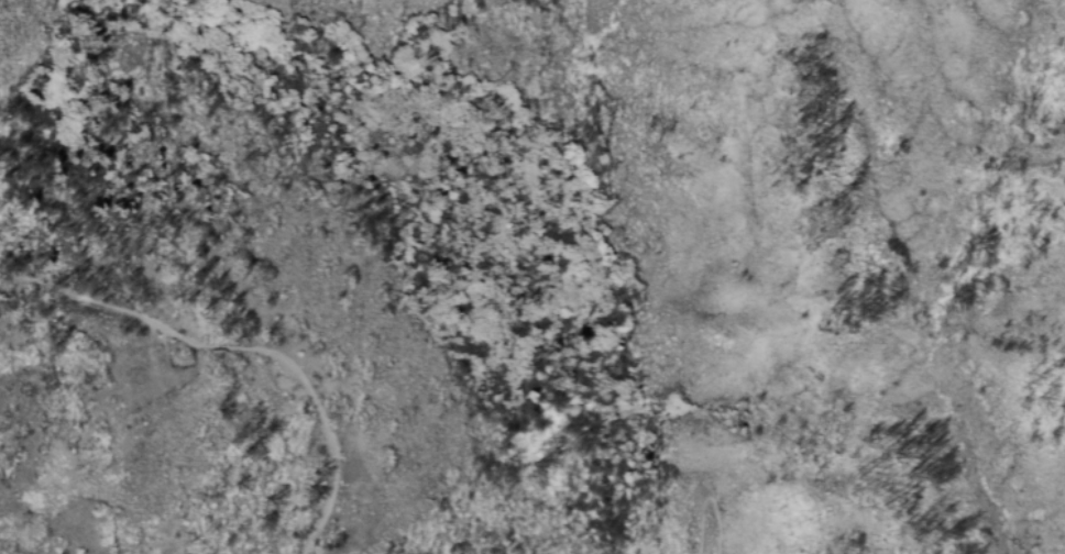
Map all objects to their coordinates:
road: (242, 351)
road: (711, 500)

